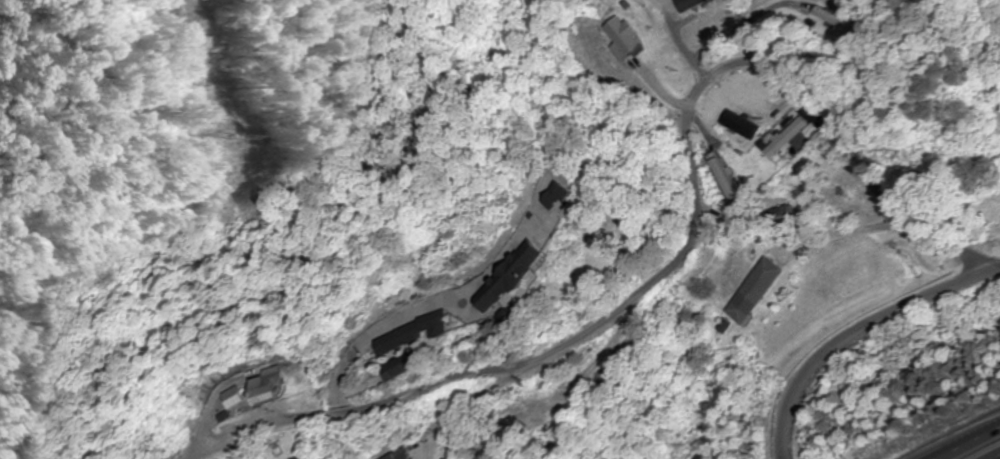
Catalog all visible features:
building: (702, 17)
building: (830, 18)
building: (620, 34)
road: (679, 46)
building: (753, 91)
building: (742, 125)
building: (791, 137)
road: (691, 208)
road: (839, 237)
building: (531, 258)
building: (753, 290)
building: (411, 333)
road: (860, 334)
building: (401, 365)
building: (262, 386)
building: (230, 395)
road: (964, 442)
building: (388, 456)

